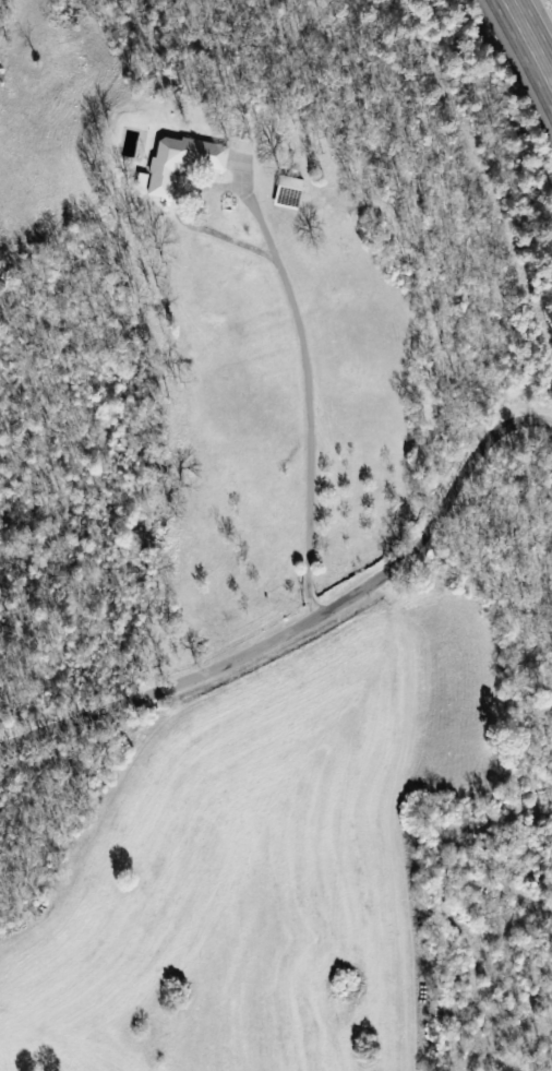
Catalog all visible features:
road: (530, 40)
building: (183, 164)
road: (308, 400)
road: (62, 548)
road: (310, 623)

